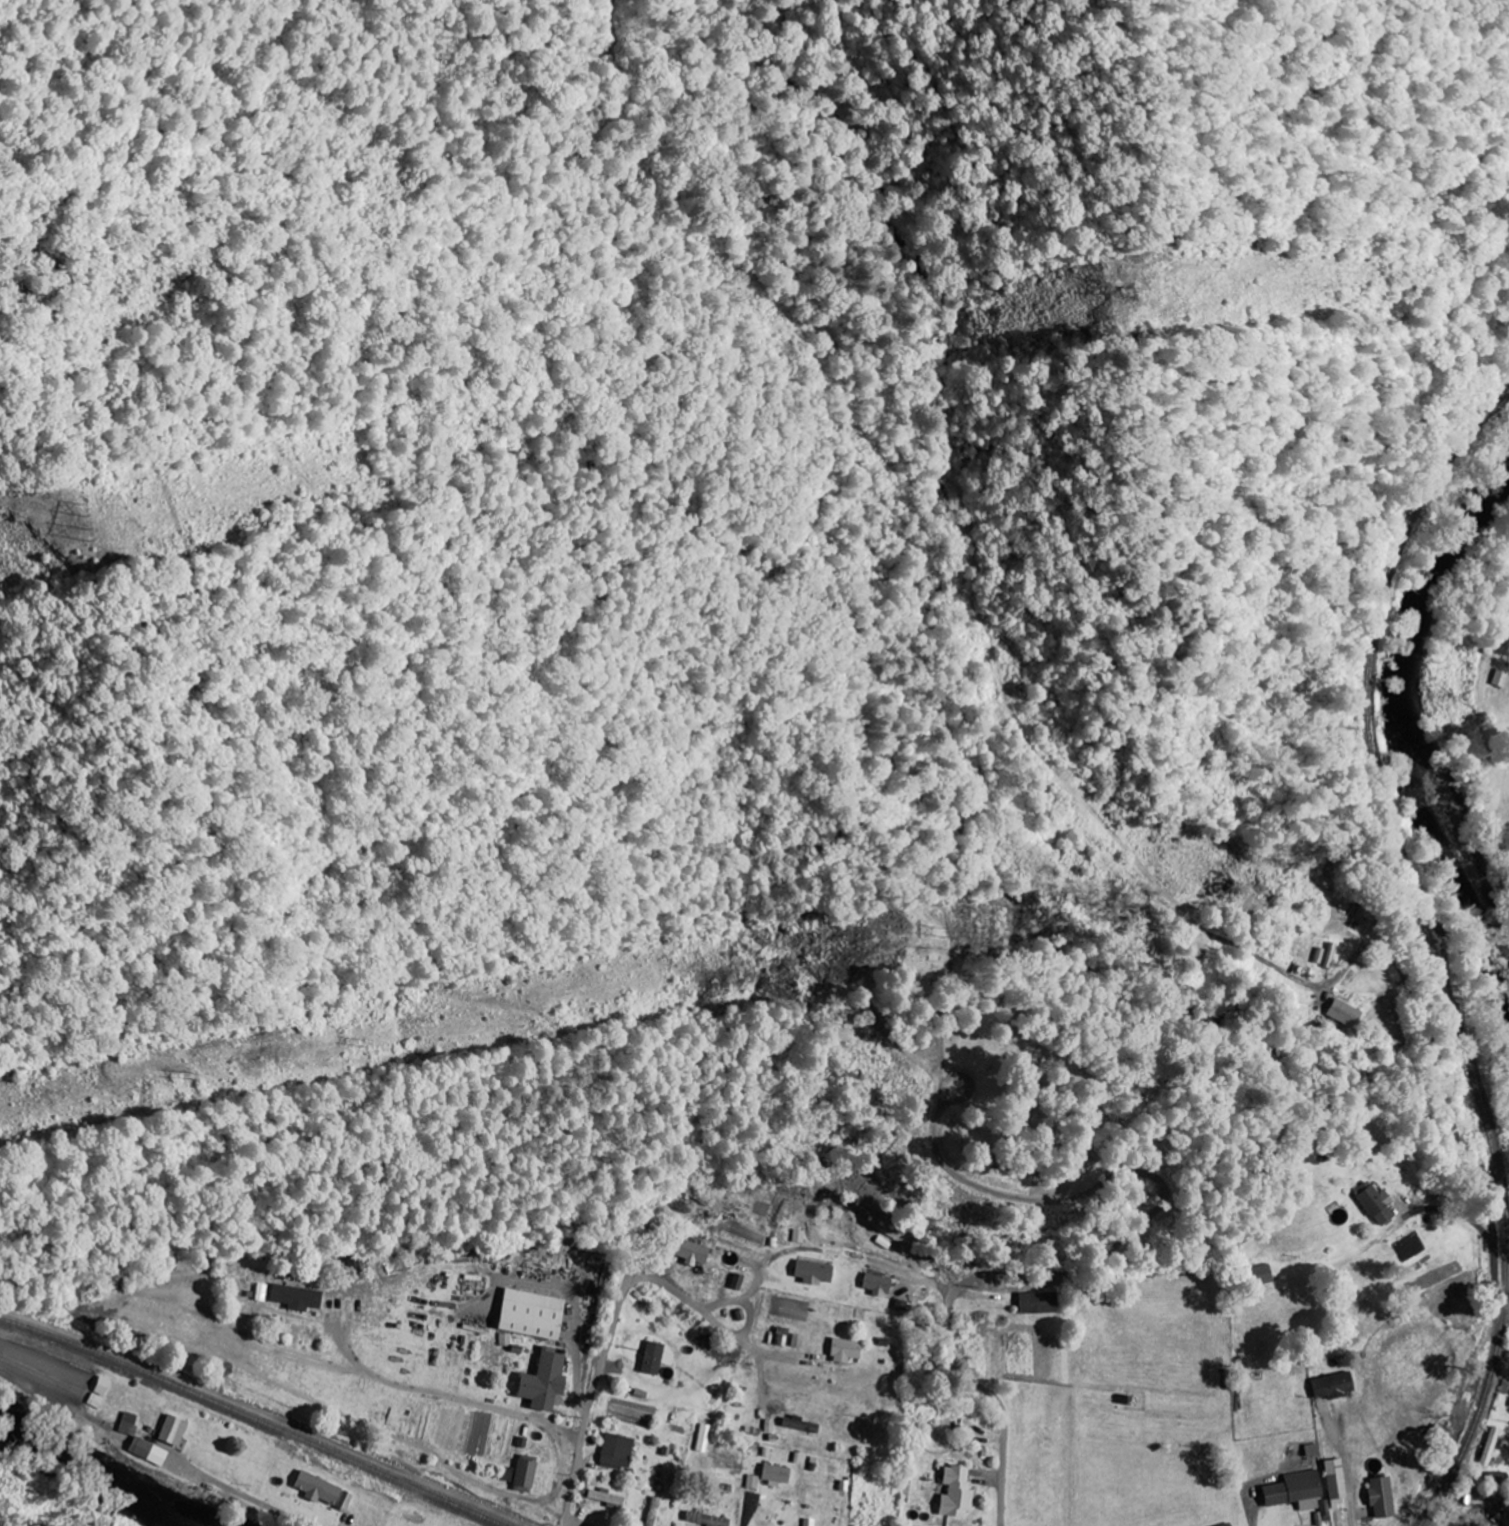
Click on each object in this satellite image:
building: (1499, 677)
river: (1408, 741)
railway: (1436, 943)
road: (1351, 963)
building: (1339, 1012)
park: (963, 1081)
road: (960, 1096)
road: (1453, 1129)
building: (1371, 1204)
building: (800, 1236)
building: (690, 1251)
road: (1105, 1256)
building: (357, 1267)
building: (813, 1272)
building: (1259, 1274)
road: (1494, 1276)
building: (737, 1281)
building: (877, 1283)
building: (261, 1294)
building: (295, 1296)
building: (1037, 1303)
building: (528, 1316)
road: (729, 1333)
building: (797, 1340)
building: (842, 1350)
building: (654, 1358)
road: (602, 1364)
building: (541, 1382)
building: (1330, 1385)
railway: (257, 1415)
building: (126, 1423)
building: (170, 1430)
building: (703, 1438)
building: (1487, 1447)
building: (615, 1451)
river: (99, 1468)
building: (520, 1473)
building: (774, 1473)
building: (752, 1481)
building: (1333, 1484)
road: (1364, 1487)
building: (320, 1490)
building: (1293, 1490)
building: (954, 1492)
road: (251, 1495)
building: (1378, 1497)
road: (1352, 1502)
building: (704, 1519)
road: (572, 1522)
building: (808, 1522)

